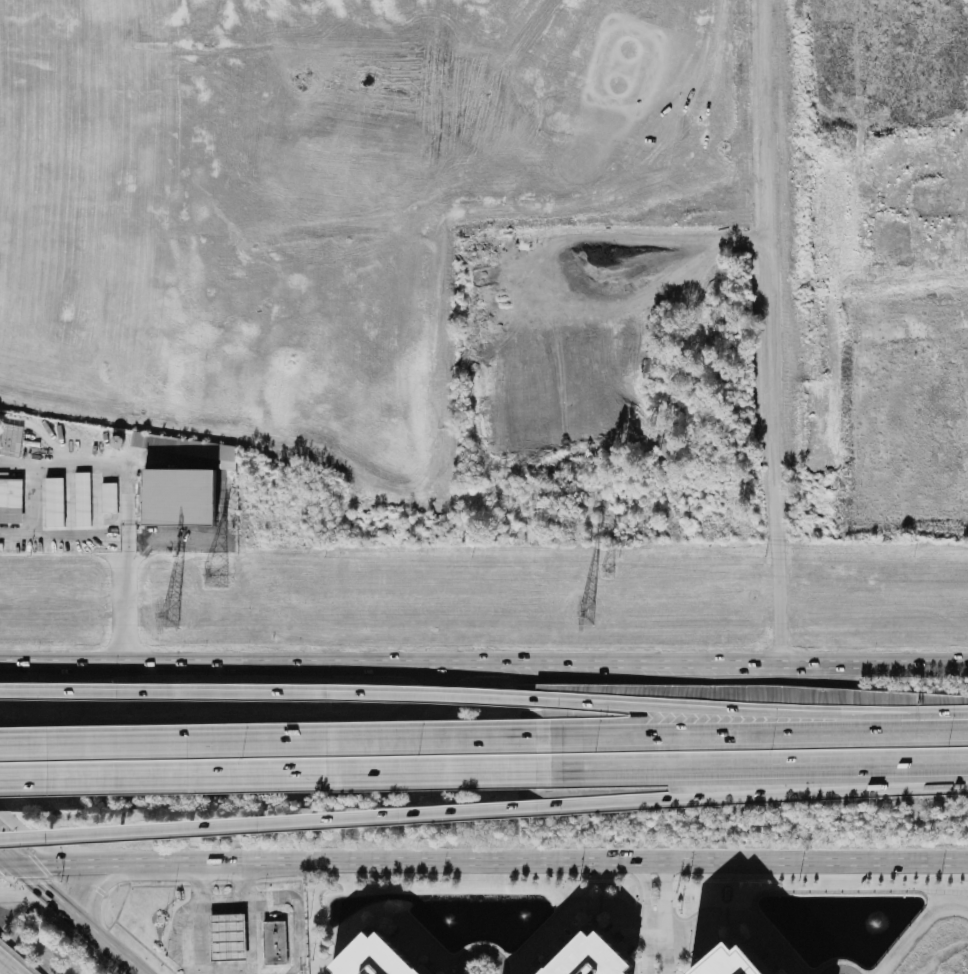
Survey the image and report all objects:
building: (9, 440)
building: (166, 443)
road: (773, 451)
building: (106, 498)
building: (169, 498)
building: (79, 499)
building: (9, 501)
building: (50, 502)
power tower: (608, 569)
road: (127, 572)
power tower: (214, 575)
power tower: (584, 616)
power tower: (171, 618)
road: (483, 666)
road: (270, 692)
road: (754, 708)
road: (755, 729)
road: (271, 738)
road: (755, 768)
road: (271, 775)
road: (755, 795)
road: (271, 821)
road: (38, 842)
road: (5, 858)
road: (397, 861)
road: (876, 861)
road: (5, 864)
road: (654, 864)
road: (650, 872)
road: (659, 872)
road: (24, 875)
traffic signals: (29, 879)
road: (198, 881)
road: (19, 889)
road: (95, 890)
road: (664, 895)
road: (647, 897)
road: (224, 900)
road: (568, 911)
parking lot: (275, 913)
road: (298, 913)
road: (250, 917)
road: (651, 920)
road: (660, 920)
road: (716, 922)
road: (87, 930)
road: (921, 931)
parking lot: (175, 935)
building: (223, 936)
gas station: (223, 937)
road: (200, 938)
building: (271, 943)
building: (592, 957)
building: (374, 958)
building: (731, 963)
road: (6, 968)
parking lot: (275, 970)
road: (204, 971)

